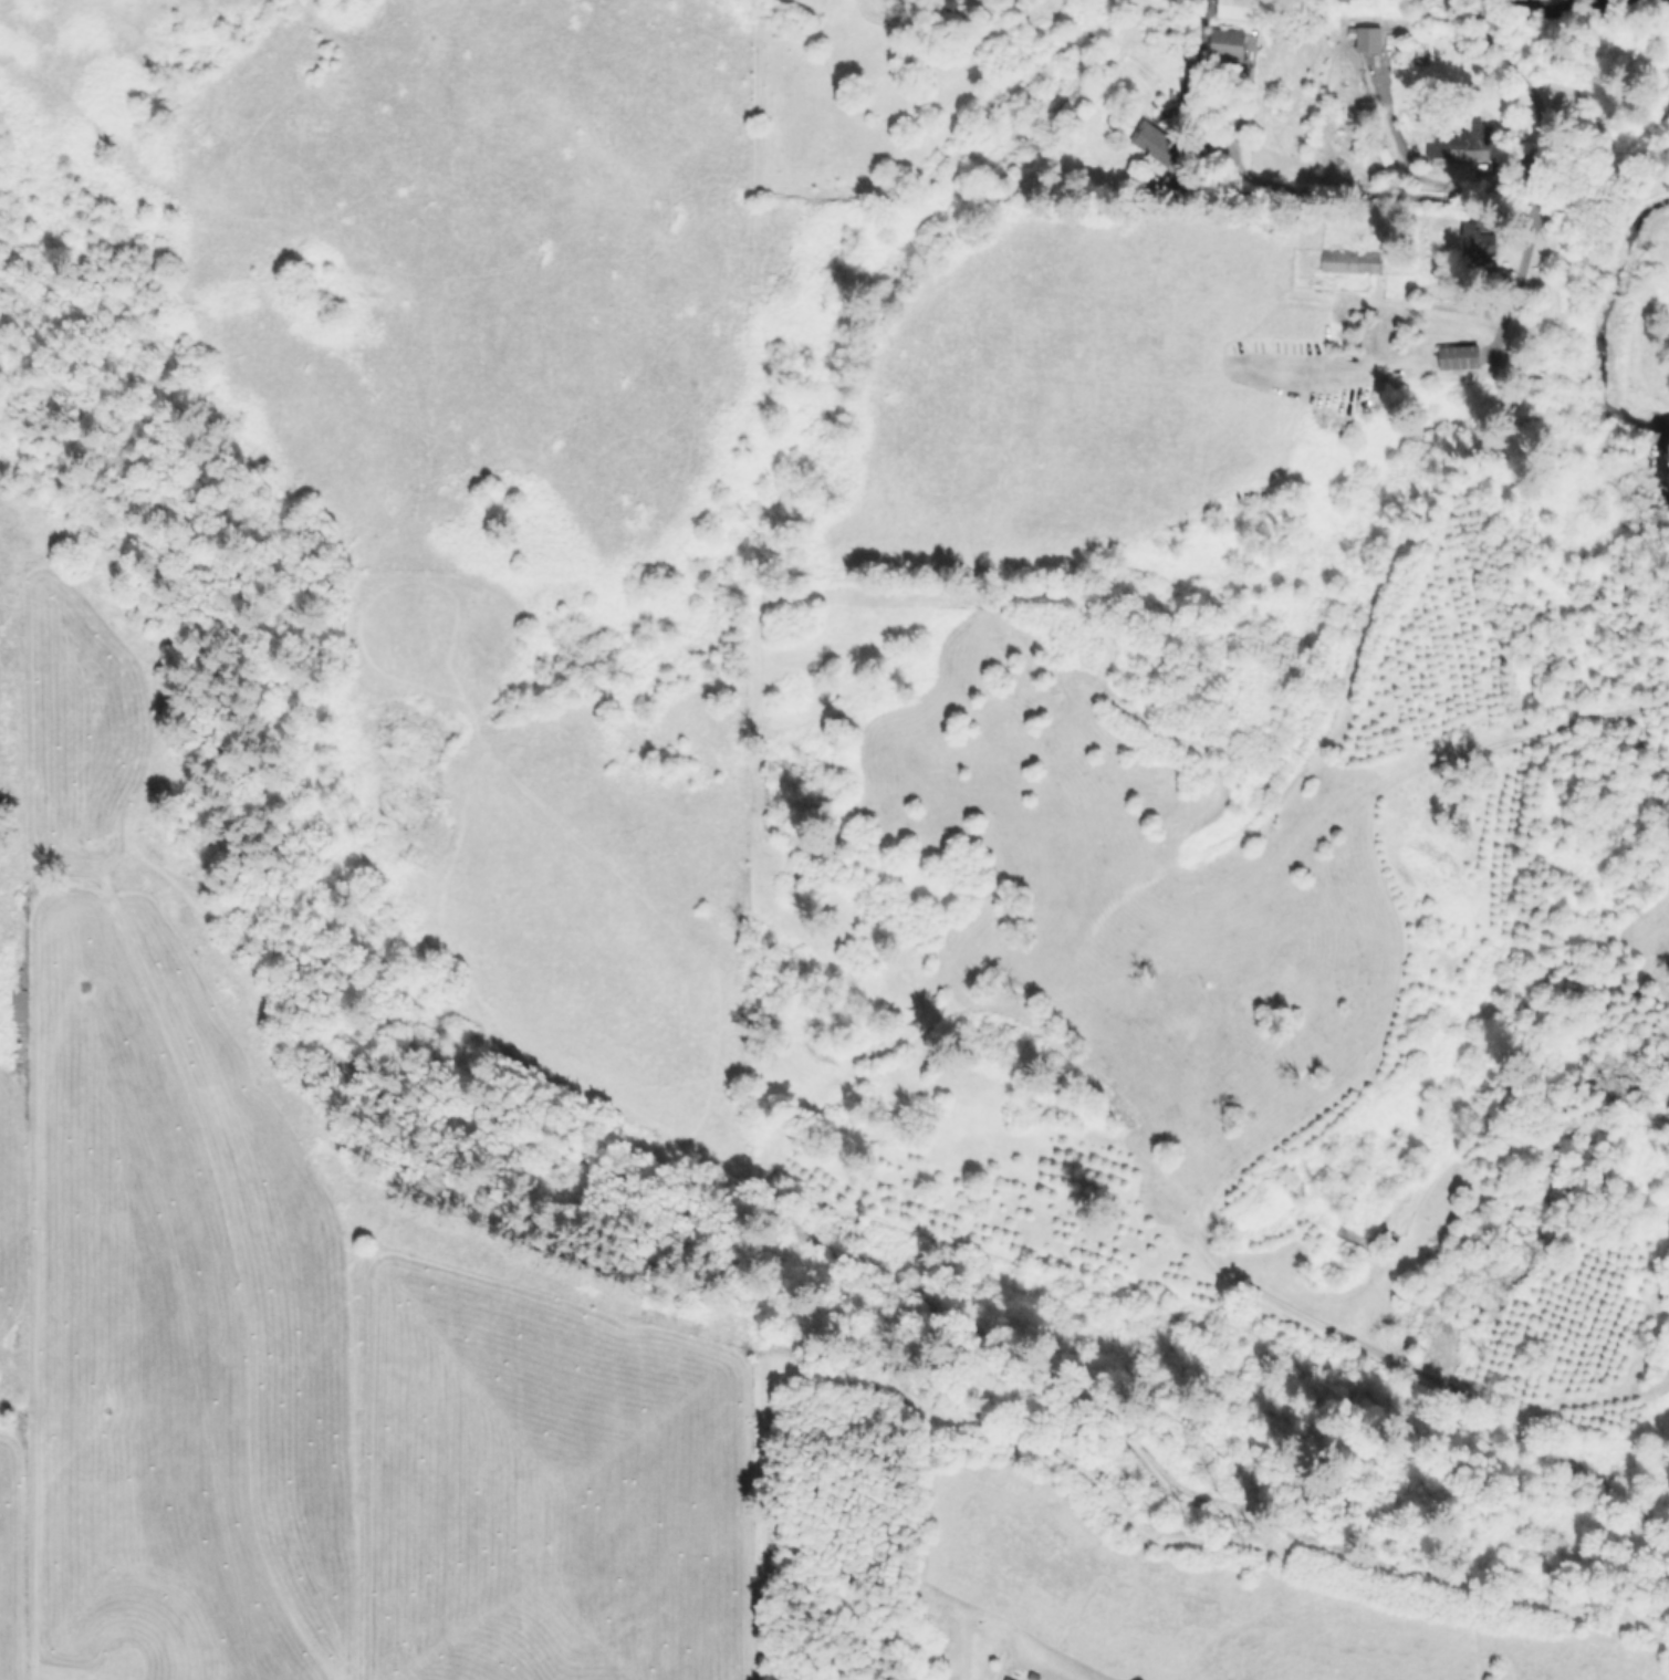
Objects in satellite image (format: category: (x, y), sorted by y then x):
building: (1233, 9)
road: (1473, 14)
building: (1364, 36)
building: (1225, 42)
building: (1470, 139)
building: (1152, 145)
building: (1433, 149)
road: (1529, 176)
road: (1349, 190)
building: (1474, 243)
building: (1349, 260)
building: (1457, 356)
building: (18, 1002)
building: (1005, 1678)

